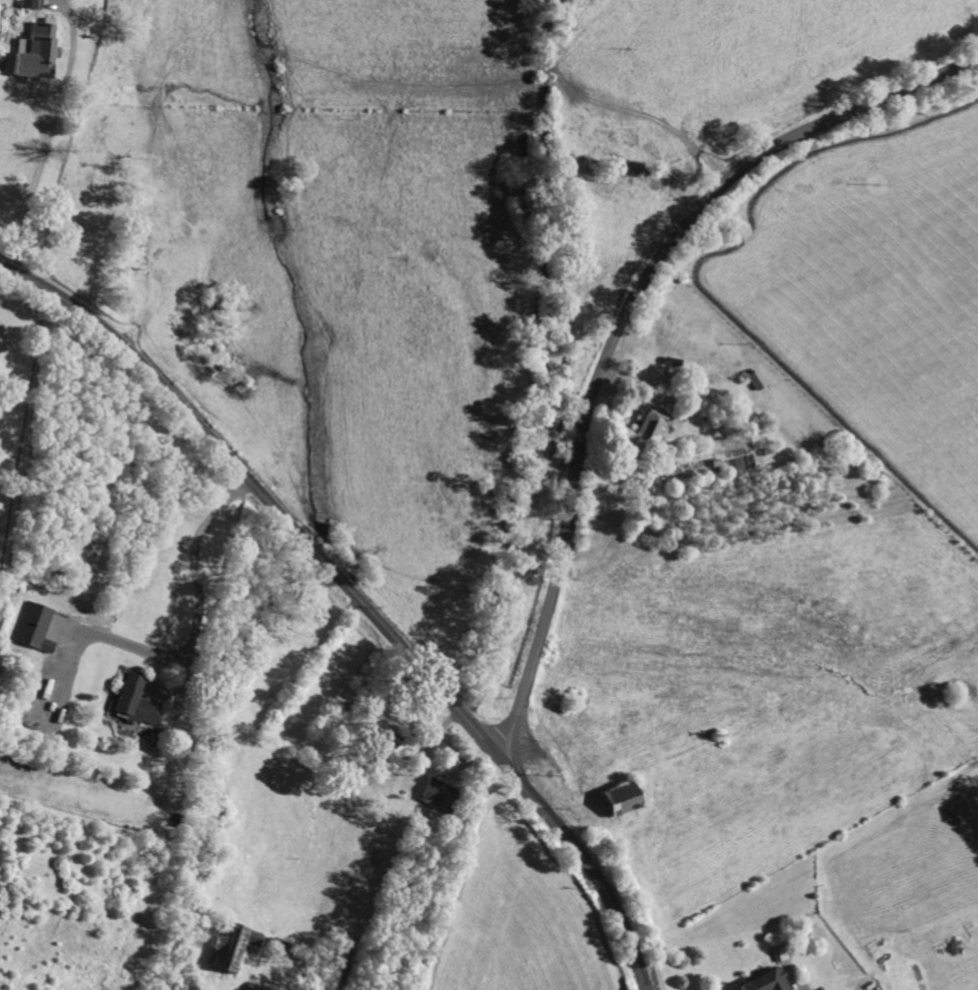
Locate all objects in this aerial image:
building: (30, 4)
building: (34, 53)
road: (45, 135)
road: (621, 320)
building: (755, 380)
building: (648, 428)
road: (356, 599)
road: (199, 602)
building: (33, 627)
building: (134, 702)
building: (383, 737)
building: (436, 794)
building: (620, 799)
building: (232, 946)
building: (765, 982)
road: (794, 985)

